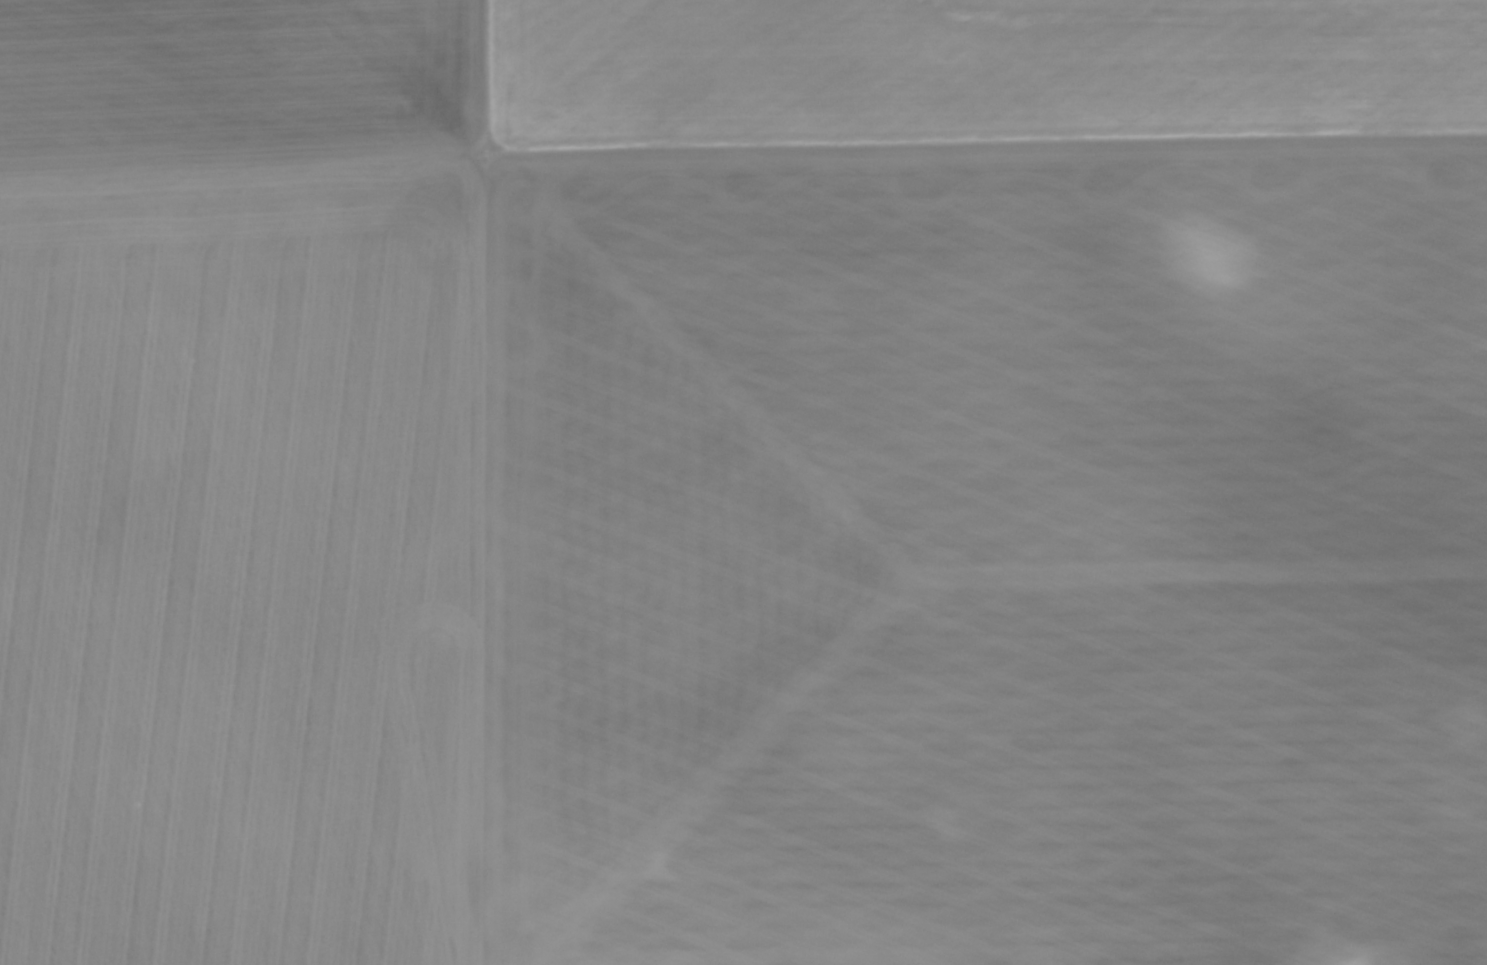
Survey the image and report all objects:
crop: (743, 482)

